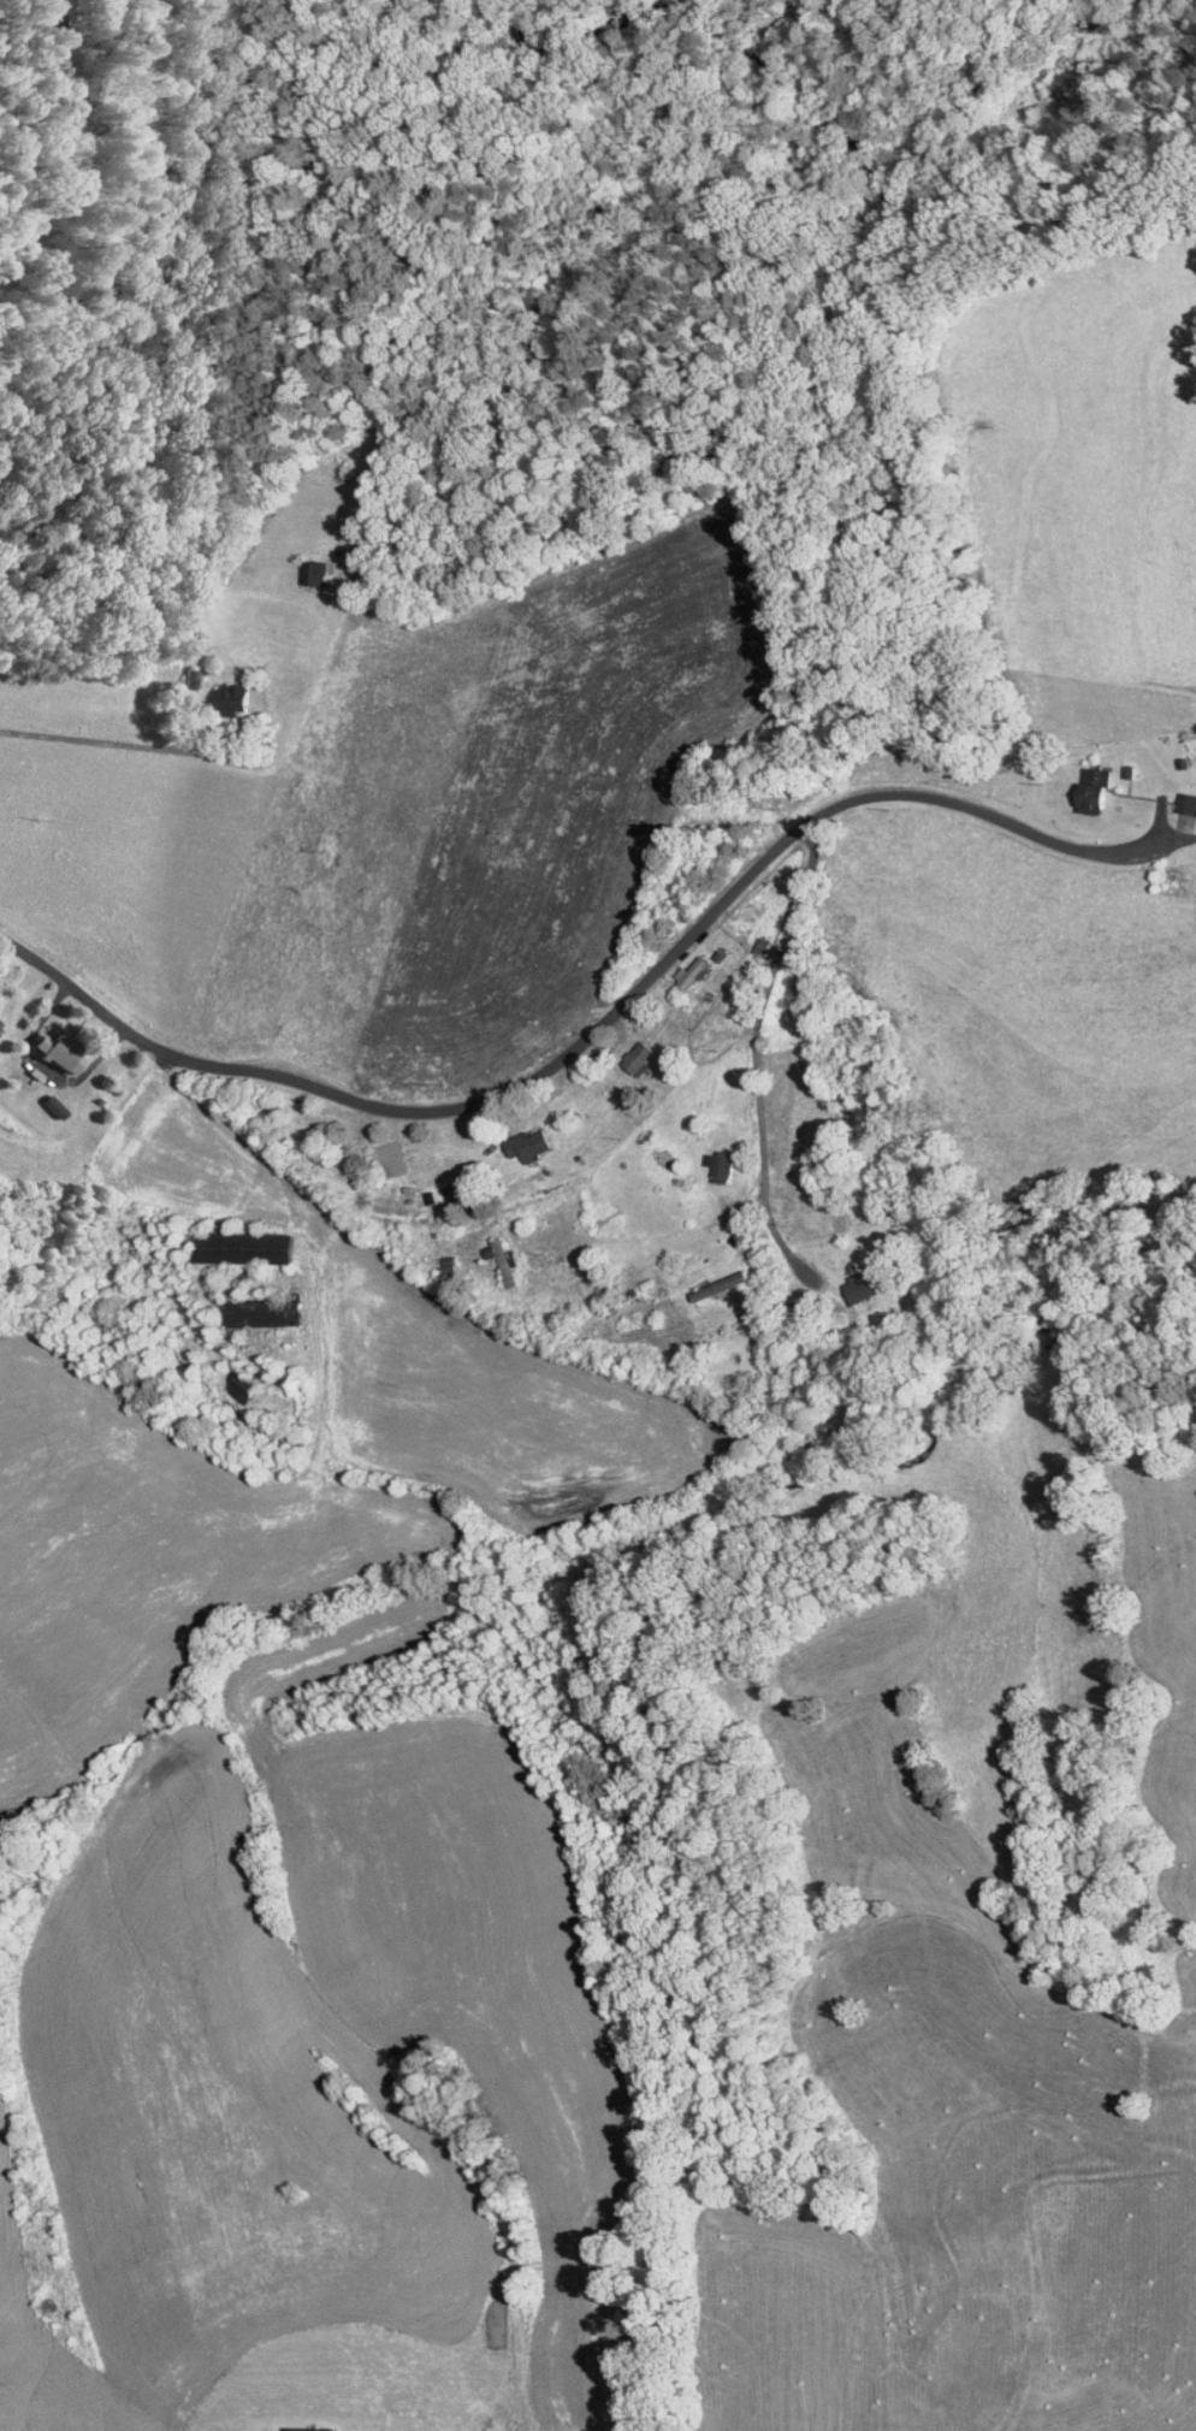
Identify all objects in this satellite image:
road: (69, 138)
building: (297, 566)
building: (209, 692)
road: (96, 740)
building: (1170, 795)
building: (1190, 800)
building: (680, 965)
road: (603, 1021)
building: (51, 1043)
building: (629, 1049)
road: (754, 1055)
building: (519, 1136)
building: (707, 1157)
building: (235, 1240)
building: (487, 1249)
building: (709, 1278)
building: (849, 1278)
building: (229, 1382)
building: (303, 2425)

